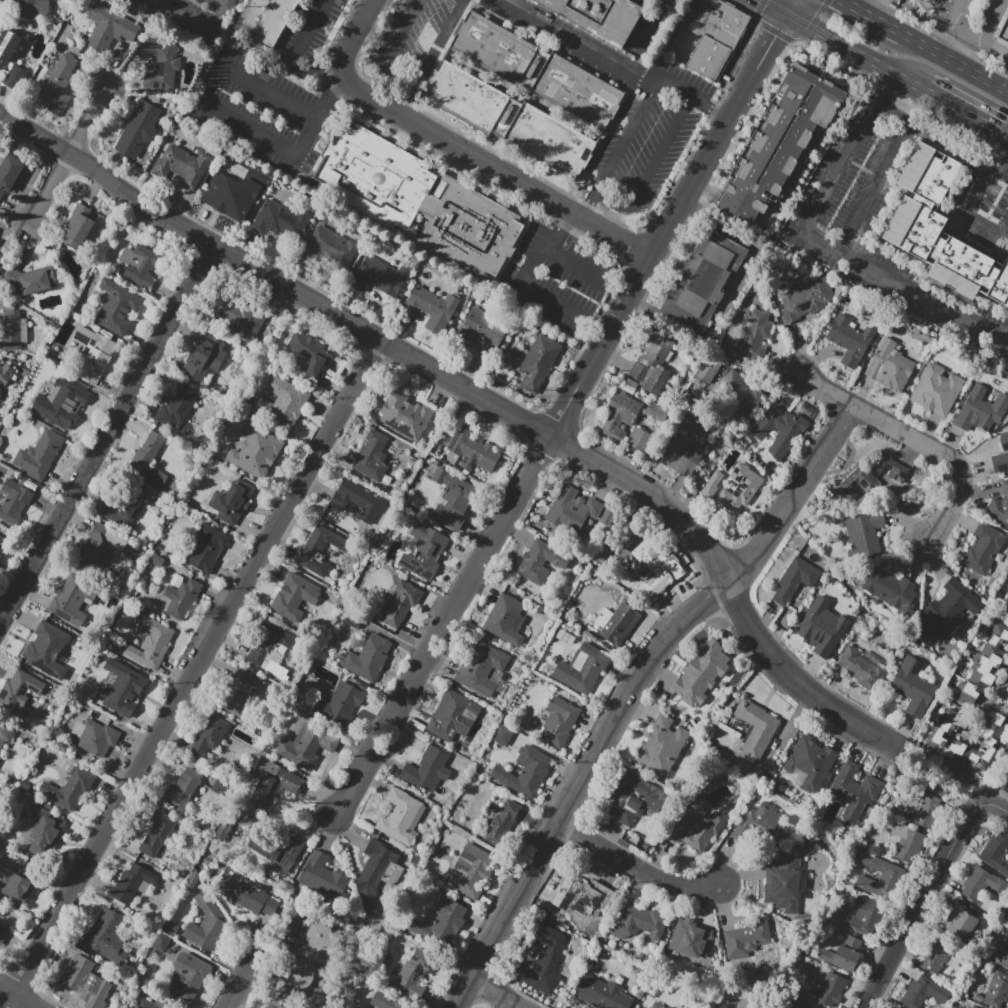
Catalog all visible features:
traffic signals: (760, 0)
building: (927, 1)
road: (841, 2)
road: (845, 2)
building: (33, 6)
road: (773, 7)
road: (790, 7)
road: (956, 10)
building: (600, 17)
building: (265, 19)
road: (874, 20)
road: (653, 21)
road: (200, 23)
road: (813, 23)
parking lot: (975, 23)
parking lot: (652, 26)
building: (108, 27)
road: (309, 28)
building: (1003, 29)
road: (776, 32)
road: (402, 34)
building: (713, 35)
traffic signals: (775, 36)
road: (986, 37)
road: (963, 38)
building: (8, 46)
road: (996, 46)
road: (815, 51)
road: (854, 51)
road: (953, 54)
road: (428, 57)
road: (592, 57)
building: (160, 63)
road: (955, 65)
building: (536, 69)
road: (310, 70)
building: (15, 78)
building: (58, 86)
road: (883, 88)
road: (271, 91)
road: (336, 91)
road: (710, 107)
road: (890, 112)
road: (964, 113)
building: (510, 120)
building: (137, 129)
traffic signals: (997, 131)
road: (999, 135)
building: (780, 143)
road: (951, 146)
road: (459, 147)
road: (276, 148)
road: (65, 155)
building: (183, 166)
road: (840, 167)
road: (1002, 167)
building: (10, 173)
road: (1002, 175)
road: (873, 186)
building: (230, 196)
road: (612, 200)
building: (418, 201)
parking lot: (981, 207)
road: (971, 215)
parking lot: (876, 218)
building: (277, 221)
building: (78, 226)
road: (669, 226)
building: (940, 231)
building: (329, 247)
road: (556, 256)
building: (1, 258)
building: (139, 265)
building: (379, 276)
building: (704, 279)
building: (30, 280)
road: (906, 285)
road: (531, 288)
building: (805, 299)
building: (117, 307)
building: (429, 308)
building: (237, 315)
building: (480, 329)
building: (13, 330)
building: (754, 336)
road: (373, 337)
building: (849, 340)
building: (310, 353)
building: (94, 354)
building: (204, 358)
building: (0, 362)
building: (538, 362)
building: (651, 362)
building: (888, 366)
building: (708, 369)
building: (5, 373)
building: (936, 390)
building: (0, 393)
building: (737, 393)
building: (60, 401)
building: (281, 403)
building: (177, 406)
building: (977, 411)
building: (656, 412)
building: (406, 415)
building: (618, 416)
building: (782, 430)
road: (105, 433)
building: (638, 438)
road: (919, 439)
building: (255, 451)
building: (470, 452)
building: (44, 453)
building: (683, 454)
building: (1000, 455)
building: (372, 456)
building: (148, 459)
building: (874, 473)
building: (711, 484)
building: (739, 489)
road: (791, 495)
building: (453, 498)
building: (234, 500)
building: (13, 501)
building: (359, 501)
building: (122, 504)
building: (999, 506)
building: (576, 512)
building: (864, 534)
building: (1, 539)
building: (206, 548)
building: (983, 548)
building: (0, 549)
building: (320, 549)
building: (0, 550)
building: (102, 550)
building: (424, 551)
building: (540, 561)
building: (656, 567)
building: (794, 580)
building: (888, 588)
building: (181, 597)
building: (294, 597)
building: (69, 600)
building: (400, 603)
building: (952, 606)
building: (1005, 607)
building: (505, 620)
building: (617, 623)
road: (443, 626)
building: (821, 627)
building: (149, 642)
building: (44, 643)
building: (269, 643)
building: (368, 658)
building: (861, 666)
building: (982, 666)
building: (481, 668)
building: (581, 669)
road: (191, 673)
building: (700, 675)
road: (796, 680)
building: (1007, 683)
building: (913, 687)
building: (122, 688)
building: (241, 691)
building: (18, 694)
building: (339, 704)
building: (453, 717)
building: (558, 721)
building: (755, 729)
building: (5, 734)
building: (501, 734)
building: (208, 736)
building: (94, 737)
building: (935, 739)
building: (662, 745)
building: (307, 746)
building: (0, 754)
building: (797, 760)
building: (427, 771)
building: (525, 772)
road: (935, 781)
building: (0, 783)
road: (576, 784)
building: (70, 788)
building: (272, 788)
building: (182, 790)
building: (853, 790)
building: (633, 798)
road: (1004, 802)
road: (995, 806)
building: (928, 812)
building: (402, 817)
building: (502, 823)
building: (758, 823)
building: (43, 830)
building: (697, 830)
building: (157, 833)
building: (906, 842)
building: (994, 850)
building: (277, 852)
road: (635, 866)
building: (471, 871)
building: (377, 872)
building: (864, 873)
building: (322, 877)
building: (880, 877)
building: (18, 882)
building: (133, 883)
building: (782, 884)
building: (981, 885)
building: (246, 893)
building: (579, 903)
road: (920, 904)
building: (865, 916)
building: (639, 921)
building: (206, 923)
building: (441, 923)
building: (960, 923)
building: (170, 928)
building: (3, 932)
building: (318, 935)
building: (106, 936)
building: (747, 937)
building: (161, 943)
building: (690, 948)
building: (843, 954)
building: (1002, 955)
building: (933, 957)
building: (546, 961)
building: (413, 974)
building: (297, 975)
building: (187, 977)
road: (238, 978)
building: (84, 984)
building: (830, 988)
building: (996, 990)
building: (918, 991)
building: (601, 993)
road: (494, 994)
road: (17, 998)
building: (384, 1001)
building: (152, 1003)
building: (800, 1003)
building: (274, 1005)
building: (656, 1005)
building: (702, 1007)
building: (973, 1007)

